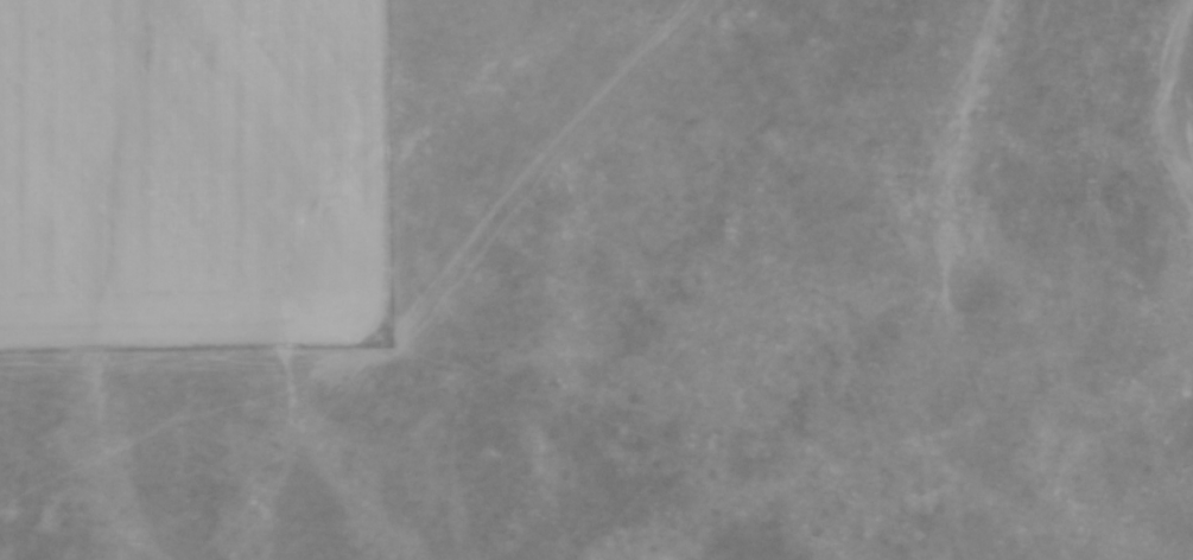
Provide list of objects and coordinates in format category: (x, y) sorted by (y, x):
crop: (190, 172)

